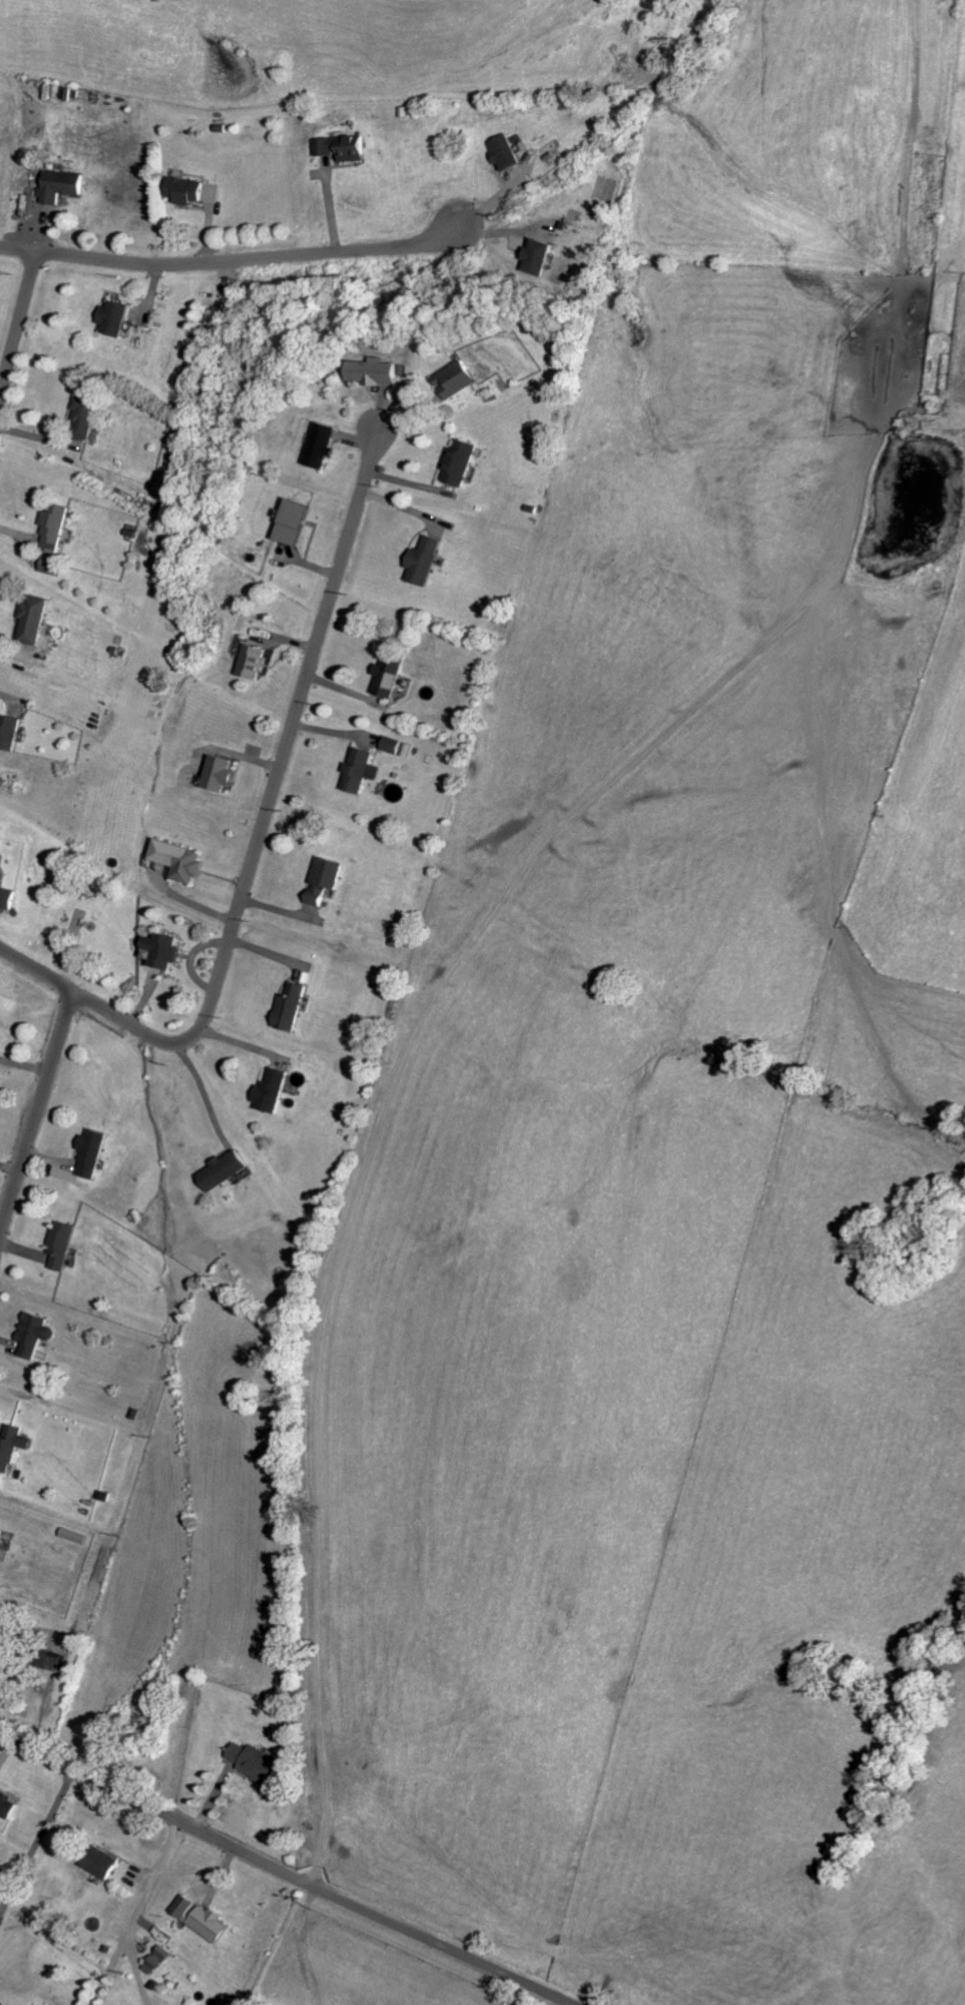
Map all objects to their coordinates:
building: (342, 147)
building: (504, 152)
building: (60, 186)
building: (185, 190)
road: (898, 205)
building: (540, 257)
road: (240, 260)
building: (114, 318)
road: (17, 323)
building: (377, 372)
building: (458, 380)
building: (84, 414)
building: (324, 446)
building: (459, 462)
building: (296, 522)
building: (53, 528)
building: (424, 561)
building: (33, 620)
building: (254, 660)
building: (389, 675)
road: (11, 697)
building: (10, 733)
building: (393, 745)
building: (361, 771)
building: (222, 774)
road: (261, 834)
building: (181, 860)
building: (325, 880)
building: (5, 896)
building: (163, 951)
building: (290, 1008)
road: (204, 1088)
building: (271, 1092)
road: (37, 1113)
building: (92, 1151)
building: (224, 1170)
building: (61, 1244)
building: (34, 1334)
building: (12, 1446)
building: (1, 1533)
building: (50, 1661)
building: (252, 1762)
building: (8, 1806)
road: (36, 1841)
building: (102, 1863)
road: (285, 1872)
building: (2, 1898)
road: (136, 1913)
building: (200, 1918)
building: (158, 1960)
building: (34, 2004)

